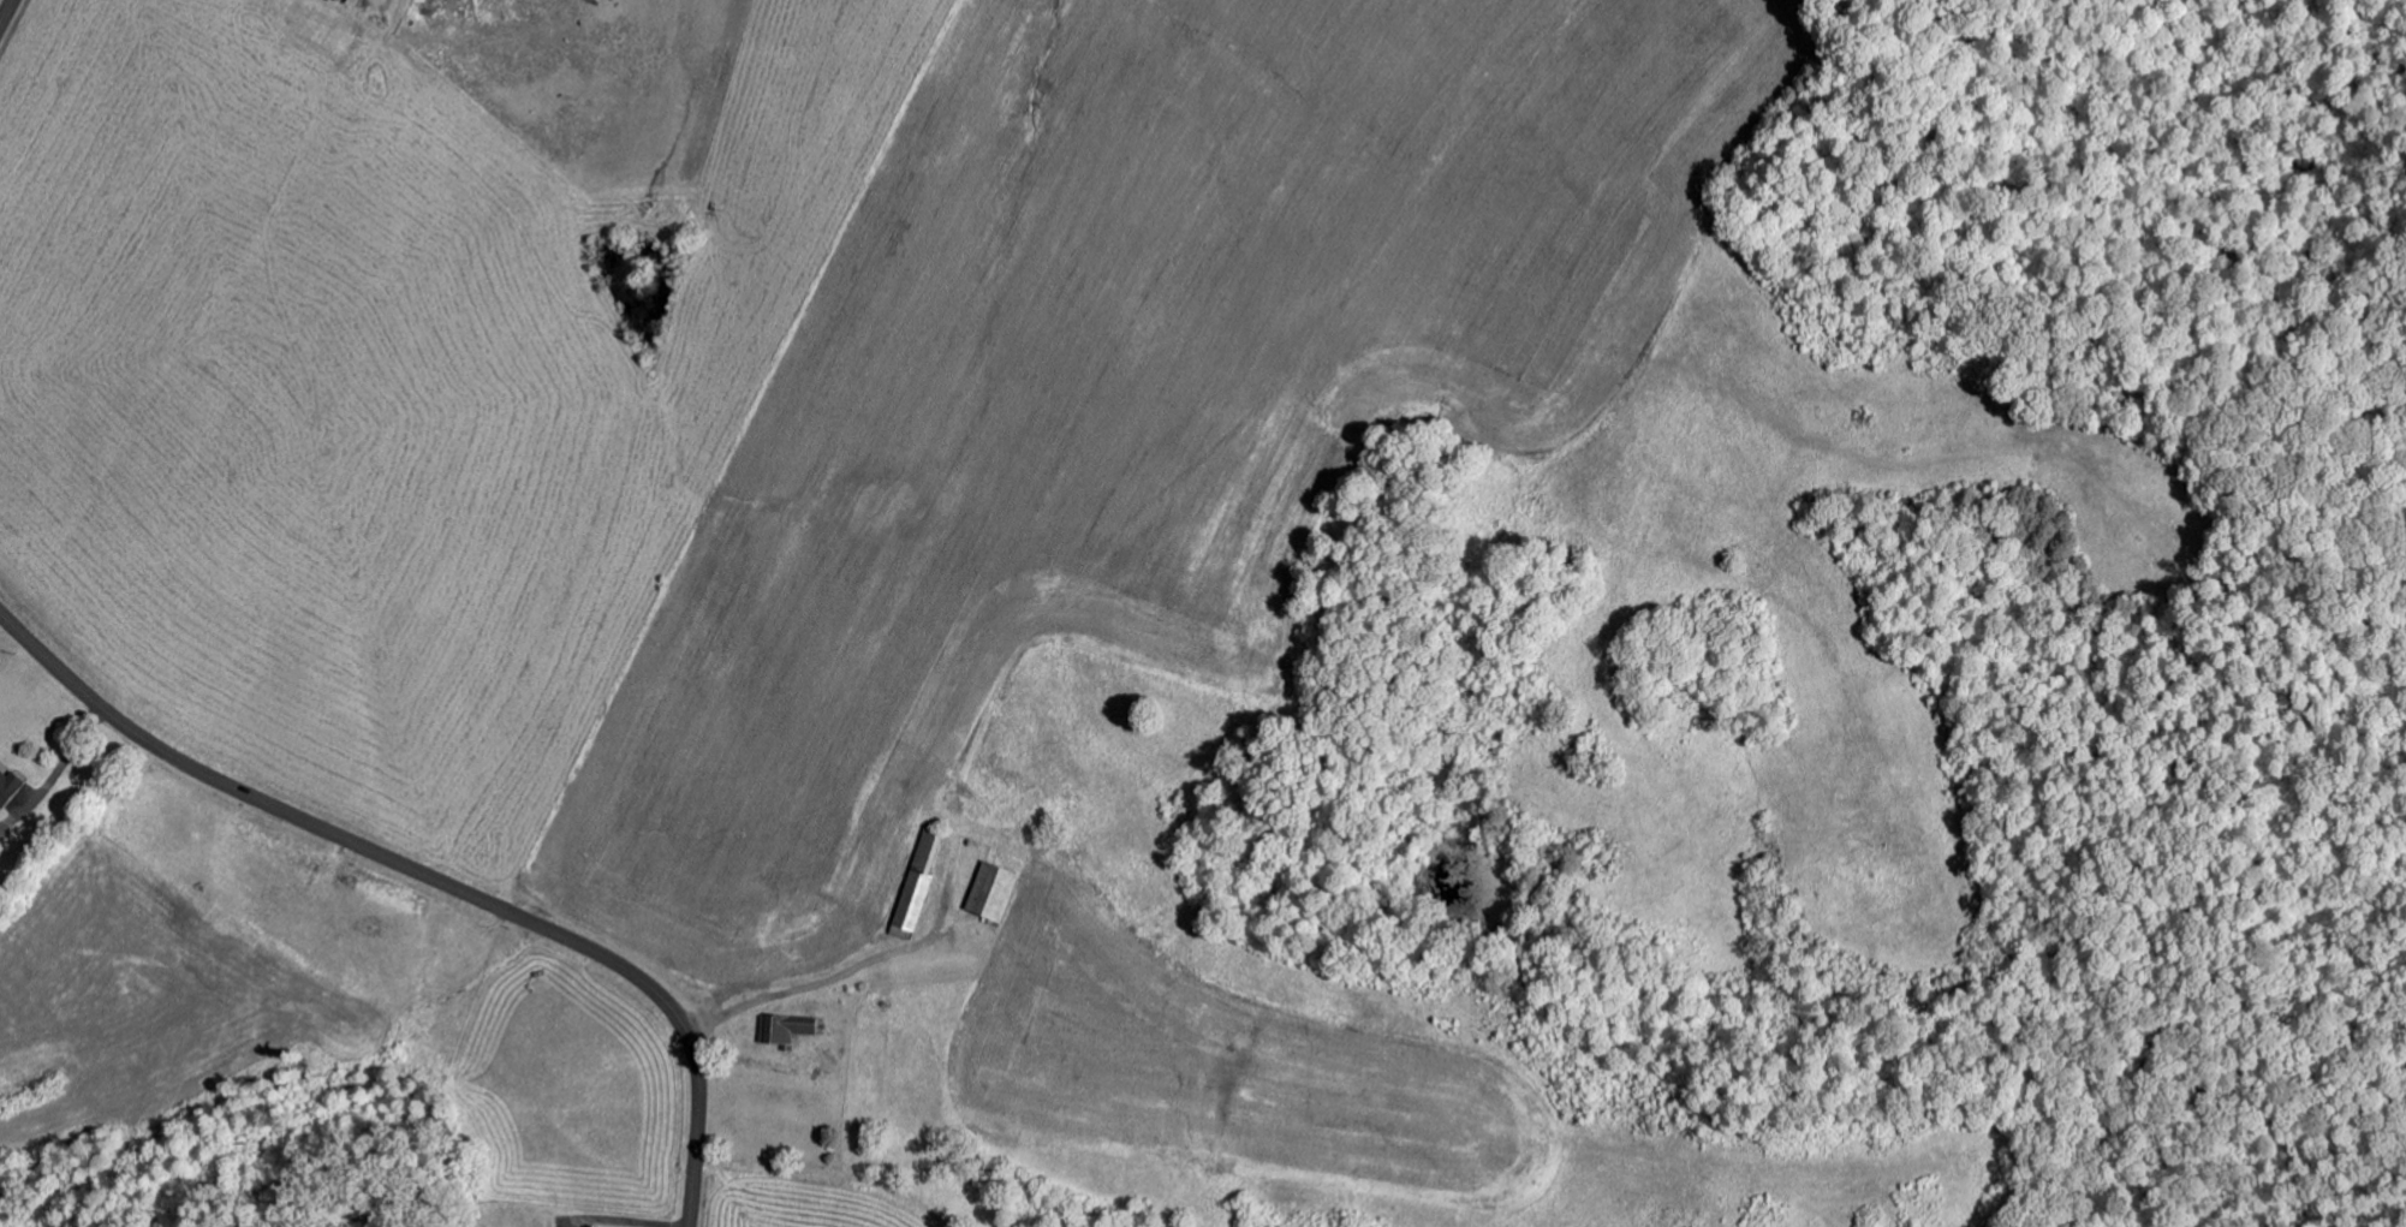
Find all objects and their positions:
road: (5, 10)
building: (7, 790)
road: (425, 875)
building: (911, 887)
building: (987, 895)
building: (779, 1032)

